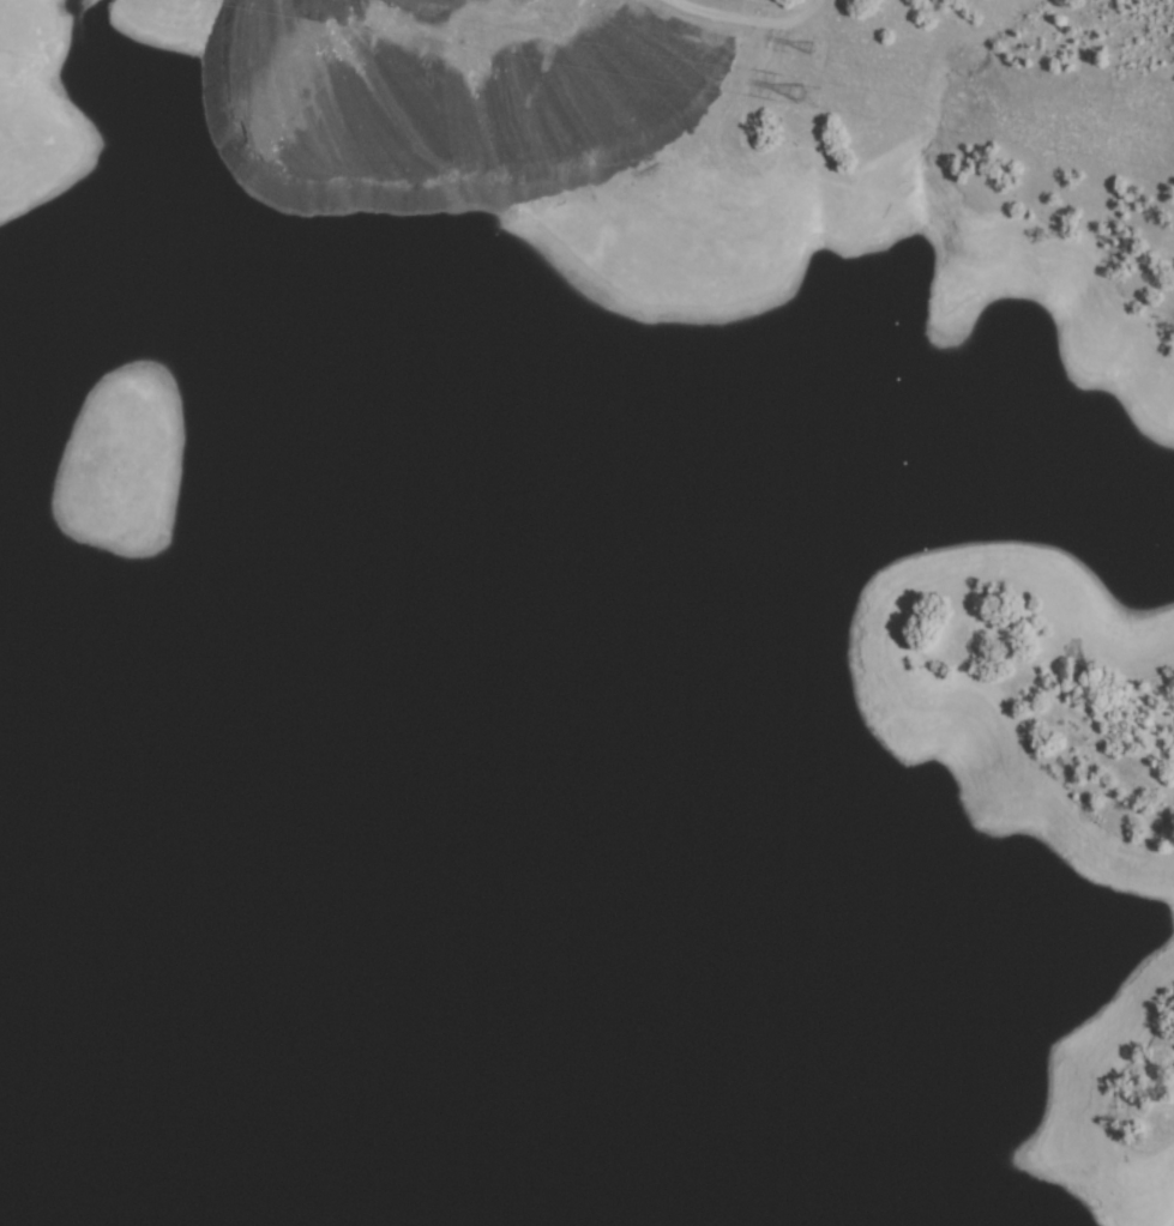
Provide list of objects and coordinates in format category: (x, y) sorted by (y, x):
road: (748, 22)
power tower: (814, 50)
power tower: (807, 97)

